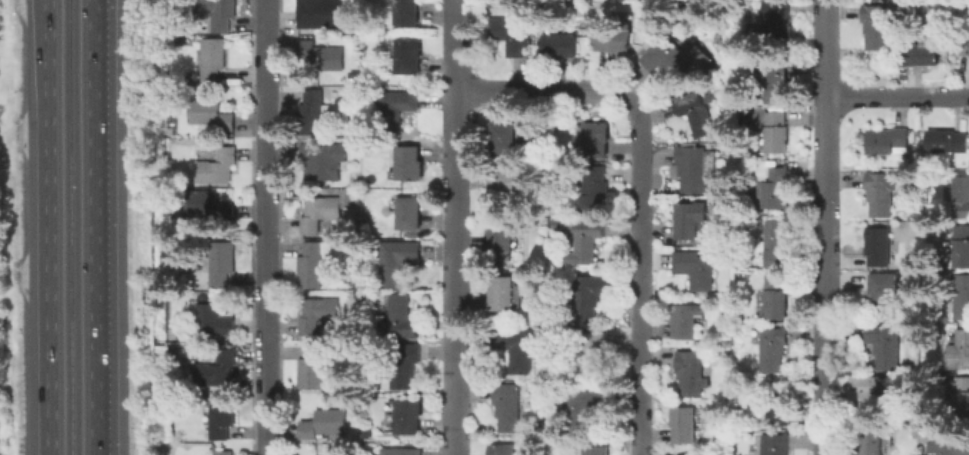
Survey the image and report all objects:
building: (408, 12)
building: (322, 14)
building: (223, 15)
building: (774, 21)
building: (879, 25)
building: (514, 34)
building: (617, 39)
building: (563, 45)
building: (965, 46)
building: (926, 51)
building: (324, 54)
building: (407, 55)
building: (678, 58)
building: (213, 59)
building: (356, 78)
building: (779, 82)
road: (899, 96)
building: (396, 109)
building: (312, 113)
building: (697, 114)
building: (212, 115)
building: (776, 133)
building: (597, 139)
building: (505, 141)
building: (890, 141)
building: (949, 141)
building: (325, 161)
building: (410, 164)
building: (219, 166)
building: (697, 170)
building: (175, 182)
building: (515, 186)
building: (727, 187)
road: (638, 188)
building: (779, 188)
building: (597, 190)
building: (883, 192)
building: (357, 193)
building: (962, 195)
building: (209, 204)
building: (321, 212)
building: (412, 213)
building: (915, 213)
building: (692, 220)
building: (560, 225)
road: (48, 227)
road: (91, 227)
road: (263, 227)
road: (453, 227)
road: (827, 227)
building: (503, 239)
building: (588, 242)
building: (778, 243)
building: (880, 246)
building: (962, 246)
building: (398, 260)
building: (223, 264)
building: (313, 265)
building: (697, 268)
building: (504, 294)
building: (590, 297)
building: (886, 297)
building: (963, 297)
building: (775, 299)
building: (320, 314)
building: (400, 317)
building: (215, 321)
building: (690, 321)
building: (176, 334)
building: (728, 343)
building: (887, 345)
building: (518, 347)
building: (775, 348)
building: (594, 351)
building: (961, 351)
building: (405, 365)
building: (314, 368)
building: (219, 370)
building: (693, 373)
building: (877, 397)
building: (358, 398)
building: (963, 398)
building: (509, 406)
building: (587, 407)
building: (780, 409)
building: (409, 416)
building: (223, 417)
building: (924, 419)
building: (326, 424)
building: (687, 425)
building: (367, 434)
building: (878, 443)
building: (777, 445)
building: (951, 445)
building: (505, 449)
building: (596, 451)
building: (402, 452)
building: (223, 453)
building: (679, 454)

